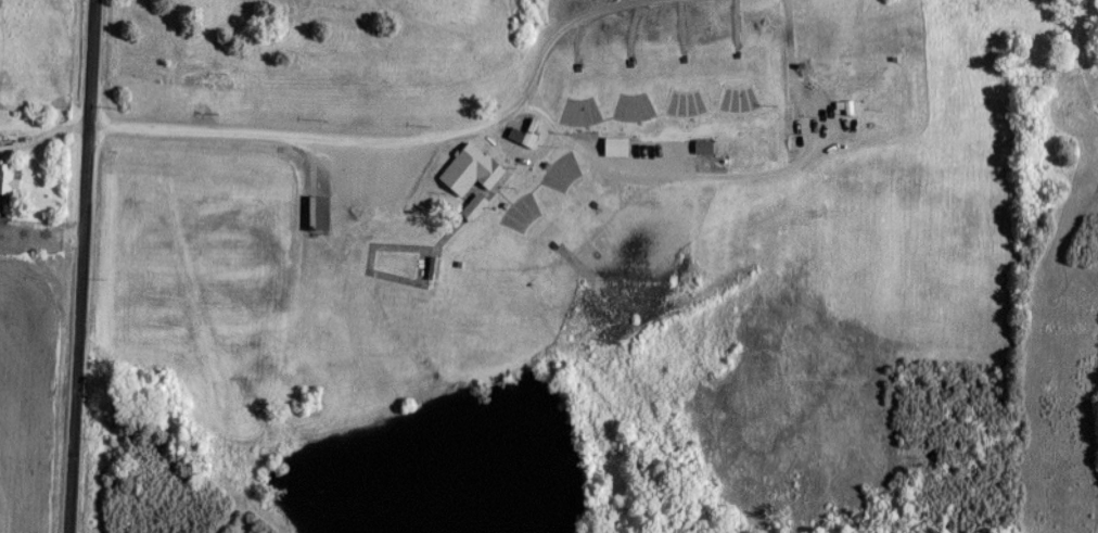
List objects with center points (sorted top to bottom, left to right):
building: (206, 81)
road: (419, 143)
building: (617, 147)
building: (704, 148)
building: (472, 170)
building: (8, 183)
building: (475, 207)
building: (320, 214)
road: (82, 266)
building: (434, 268)

